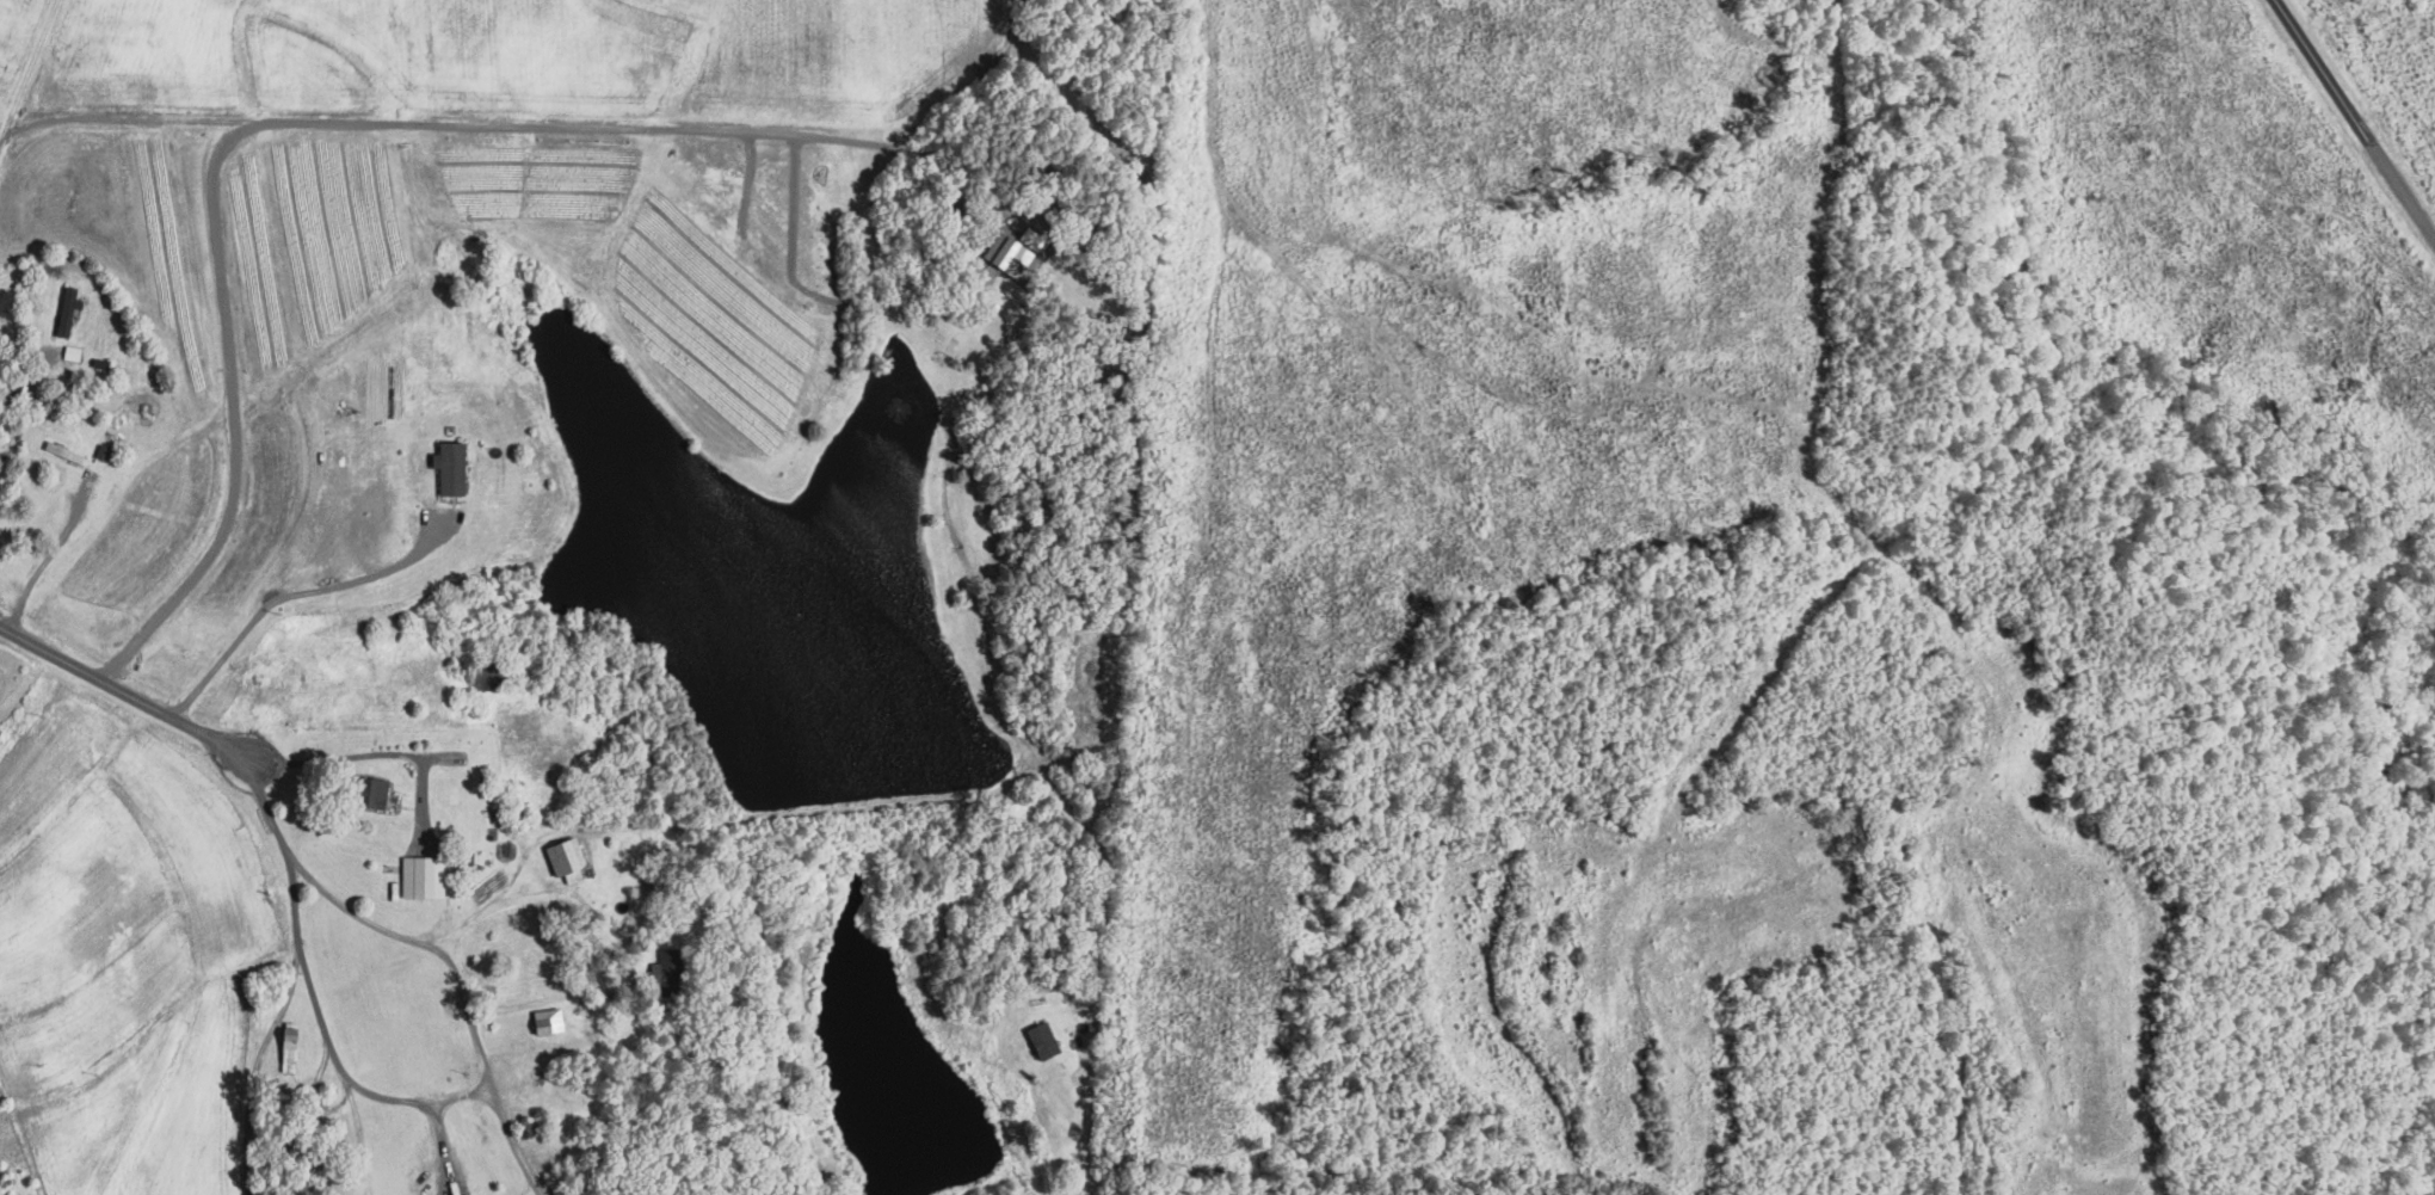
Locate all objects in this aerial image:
road: (30, 75)
road: (2355, 122)
road: (525, 125)
building: (1003, 253)
building: (72, 309)
building: (74, 352)
road: (26, 355)
road: (228, 421)
building: (457, 467)
road: (49, 553)
road: (291, 593)
building: (492, 678)
road: (124, 692)
road: (382, 752)
building: (378, 790)
dam: (865, 814)
road: (554, 831)
building: (572, 858)
building: (426, 875)
road: (610, 932)
road: (432, 945)
building: (676, 971)
building: (551, 1020)
building: (1038, 1039)
road: (331, 1046)
road: (255, 1065)
road: (1087, 1132)
road: (444, 1147)

